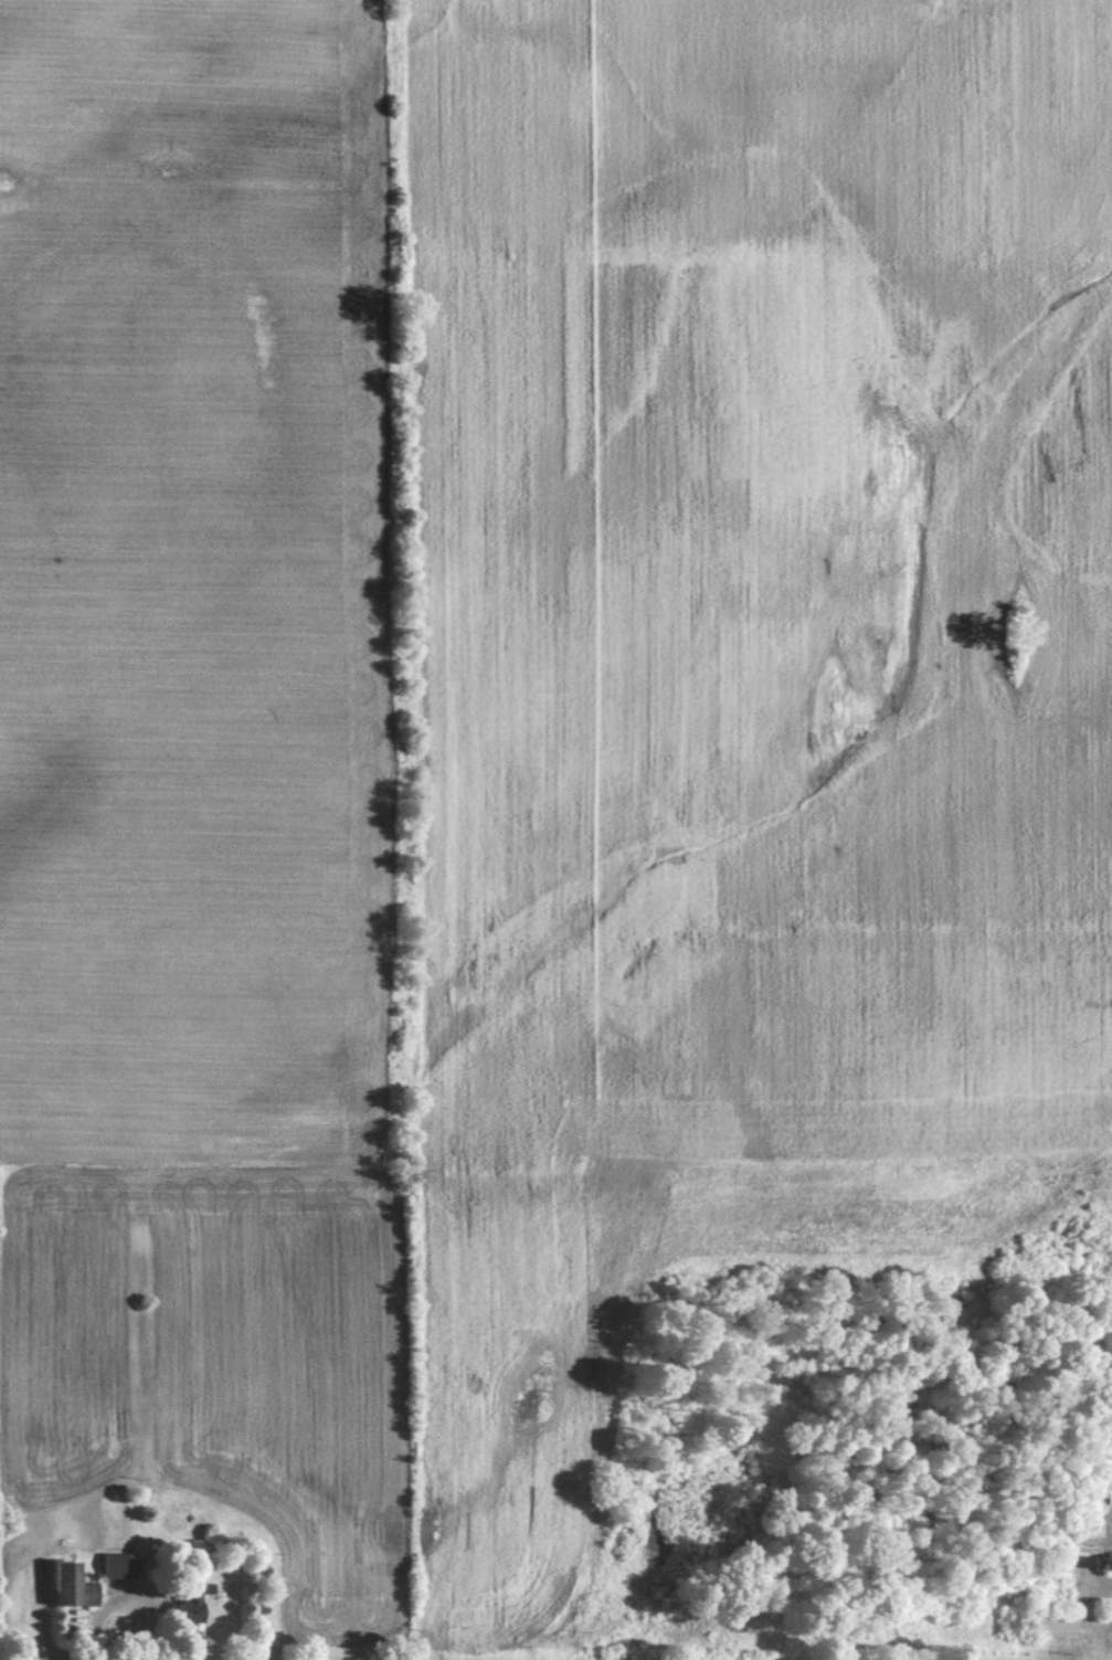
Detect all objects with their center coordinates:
building: (1109, 1488)
building: (1089, 1526)
building: (116, 1564)
building: (72, 1584)
building: (191, 1599)
building: (1055, 1621)

